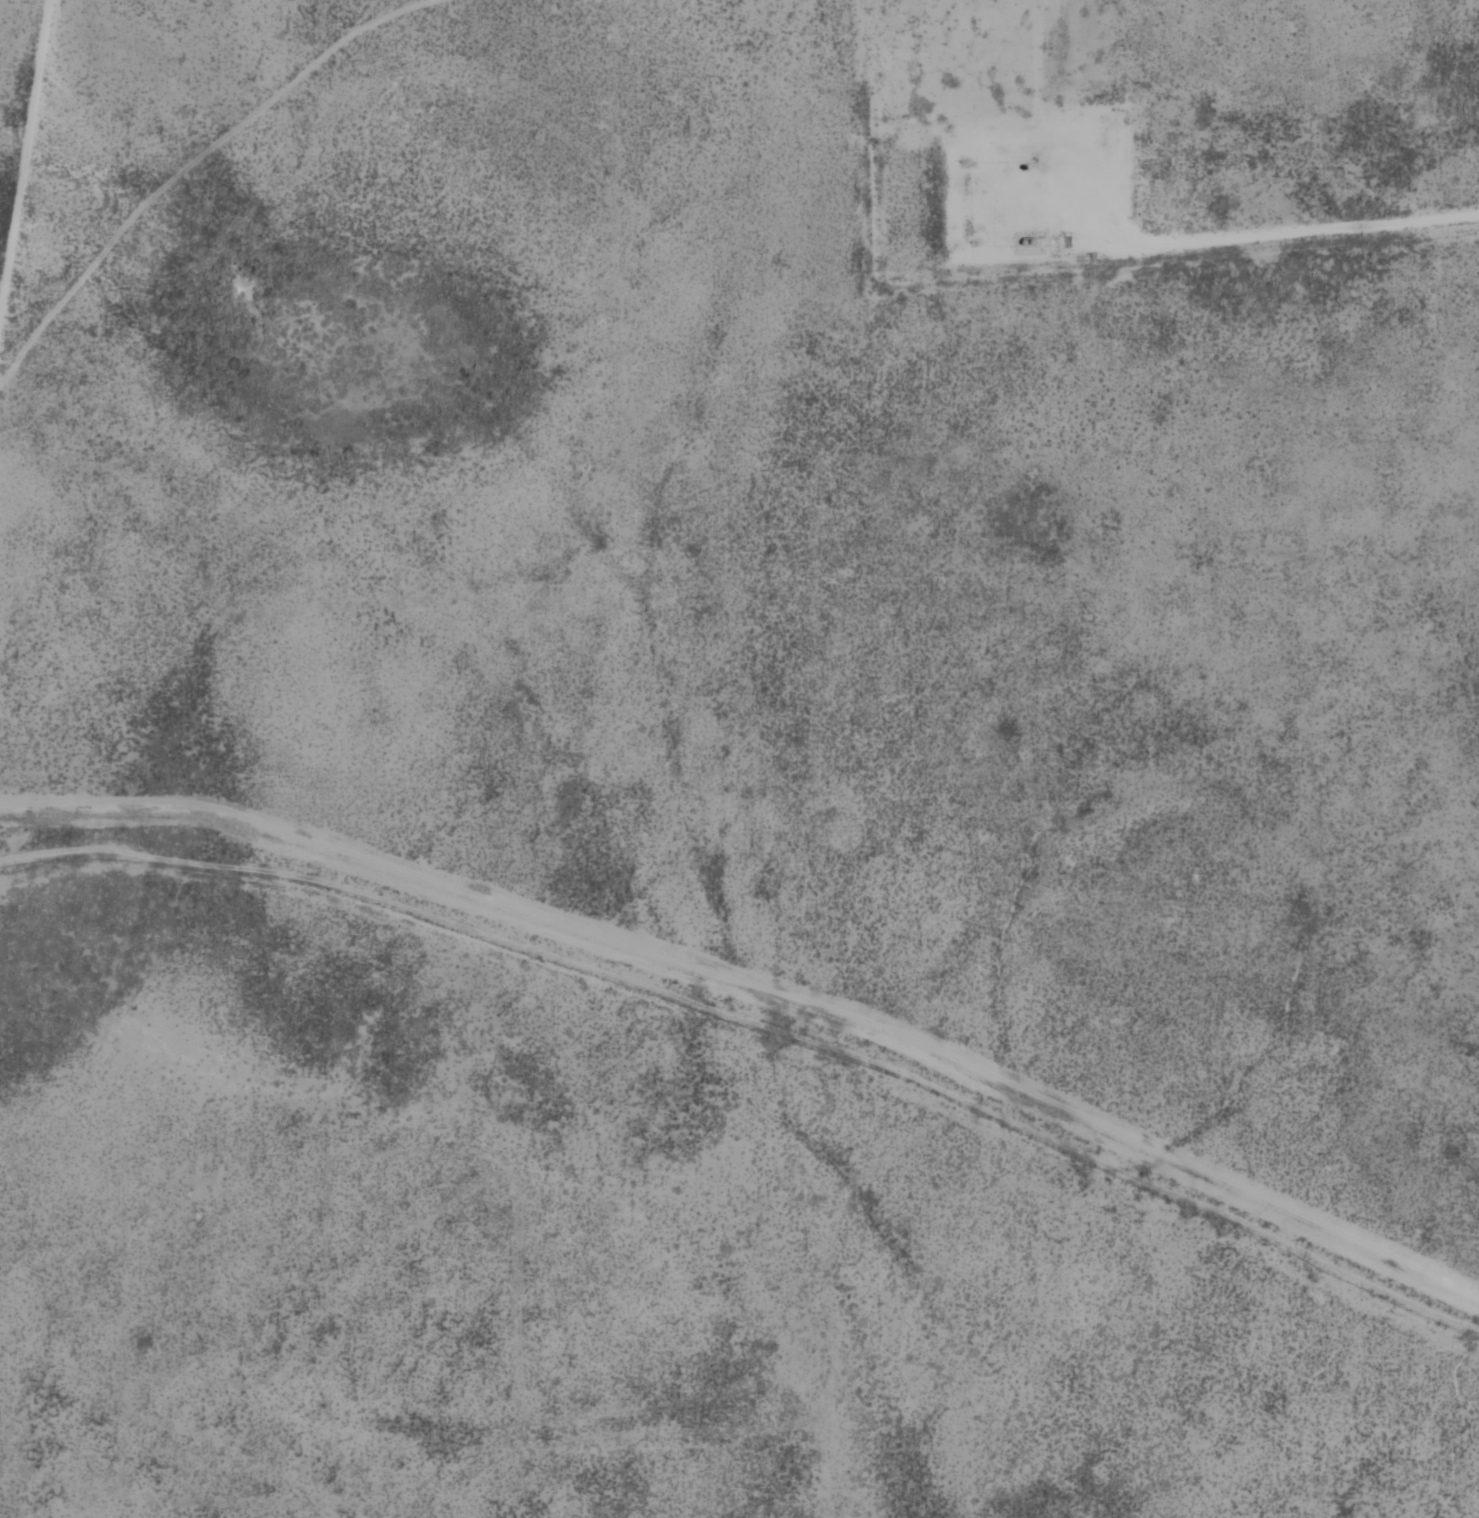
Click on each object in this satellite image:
road: (21, 156)

